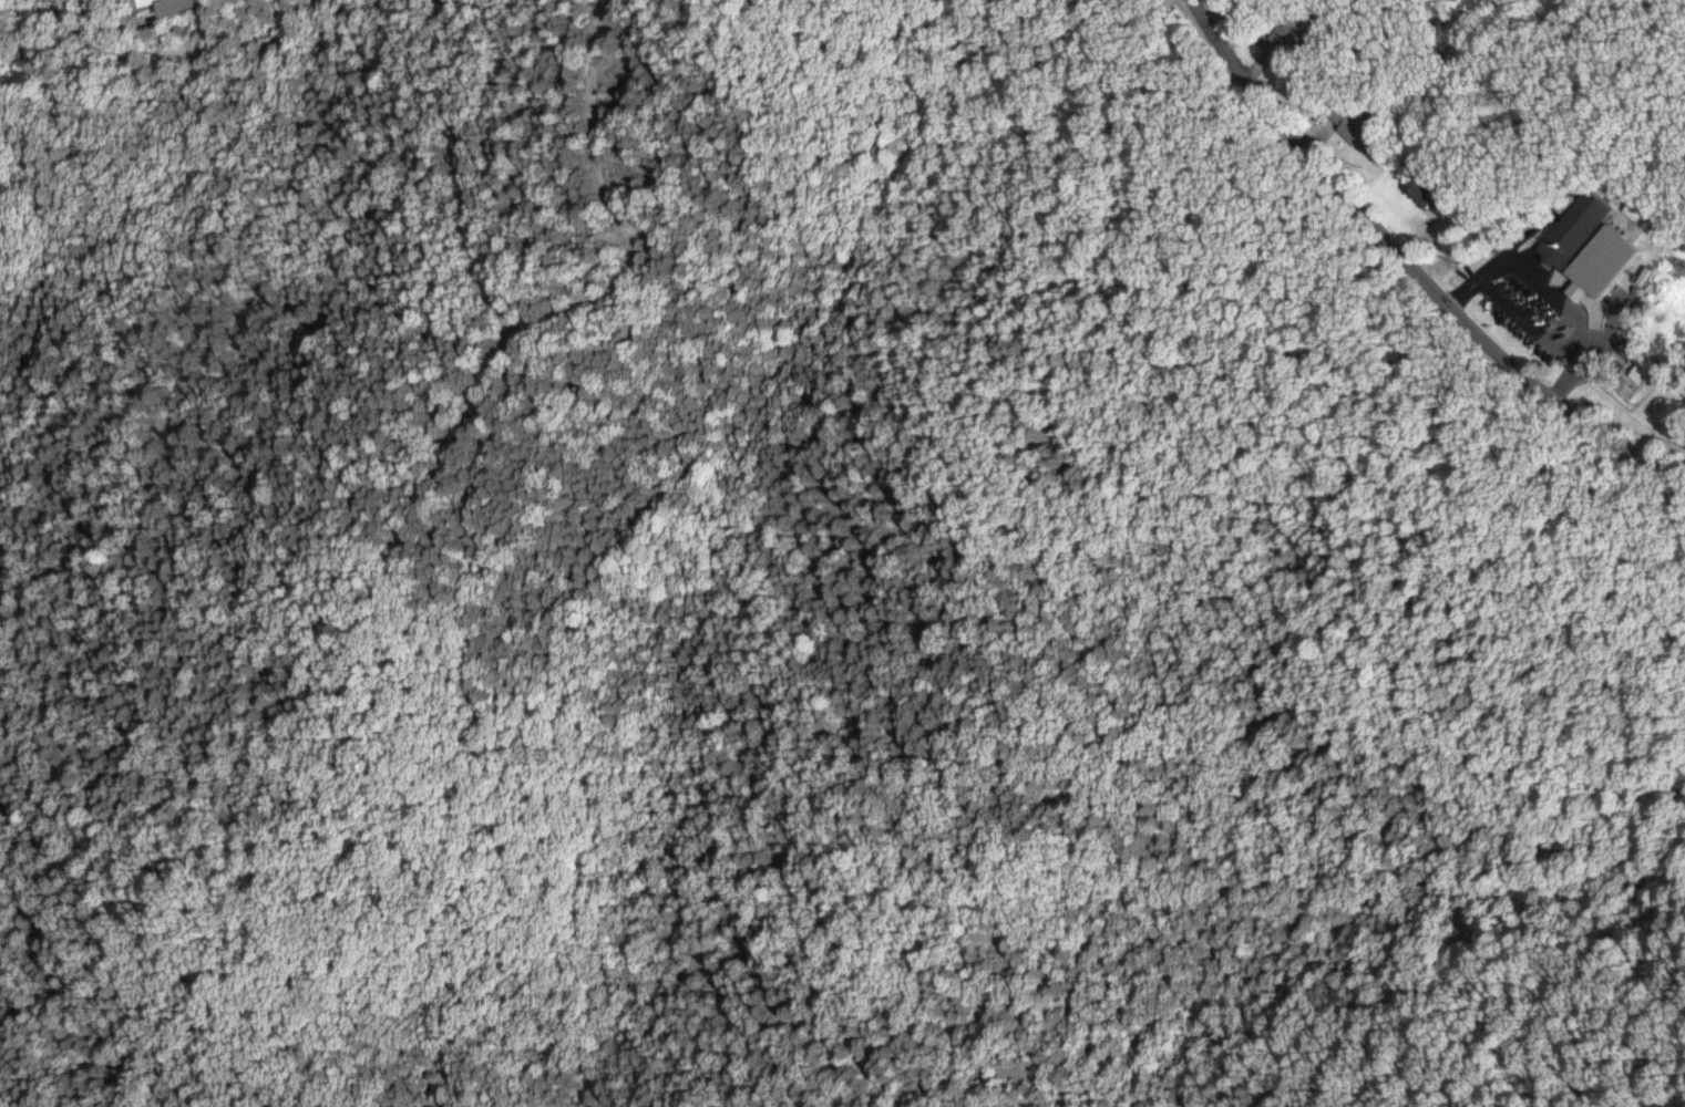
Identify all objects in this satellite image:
building: (146, 0)
building: (181, 6)
building: (1298, 33)
building: (1360, 126)
building: (1440, 197)
building: (1640, 214)
building: (1582, 227)
building: (1609, 262)
road: (1416, 268)
road: (1506, 299)
road: (1588, 334)

